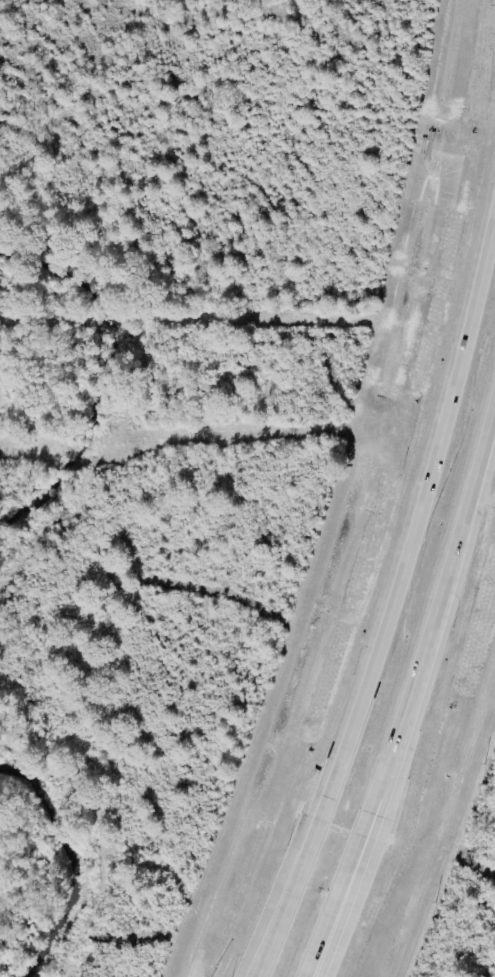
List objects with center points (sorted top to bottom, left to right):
river: (128, 331)
road: (419, 501)
road: (440, 602)
river: (57, 845)
road: (342, 886)
road: (347, 886)
road: (291, 887)

